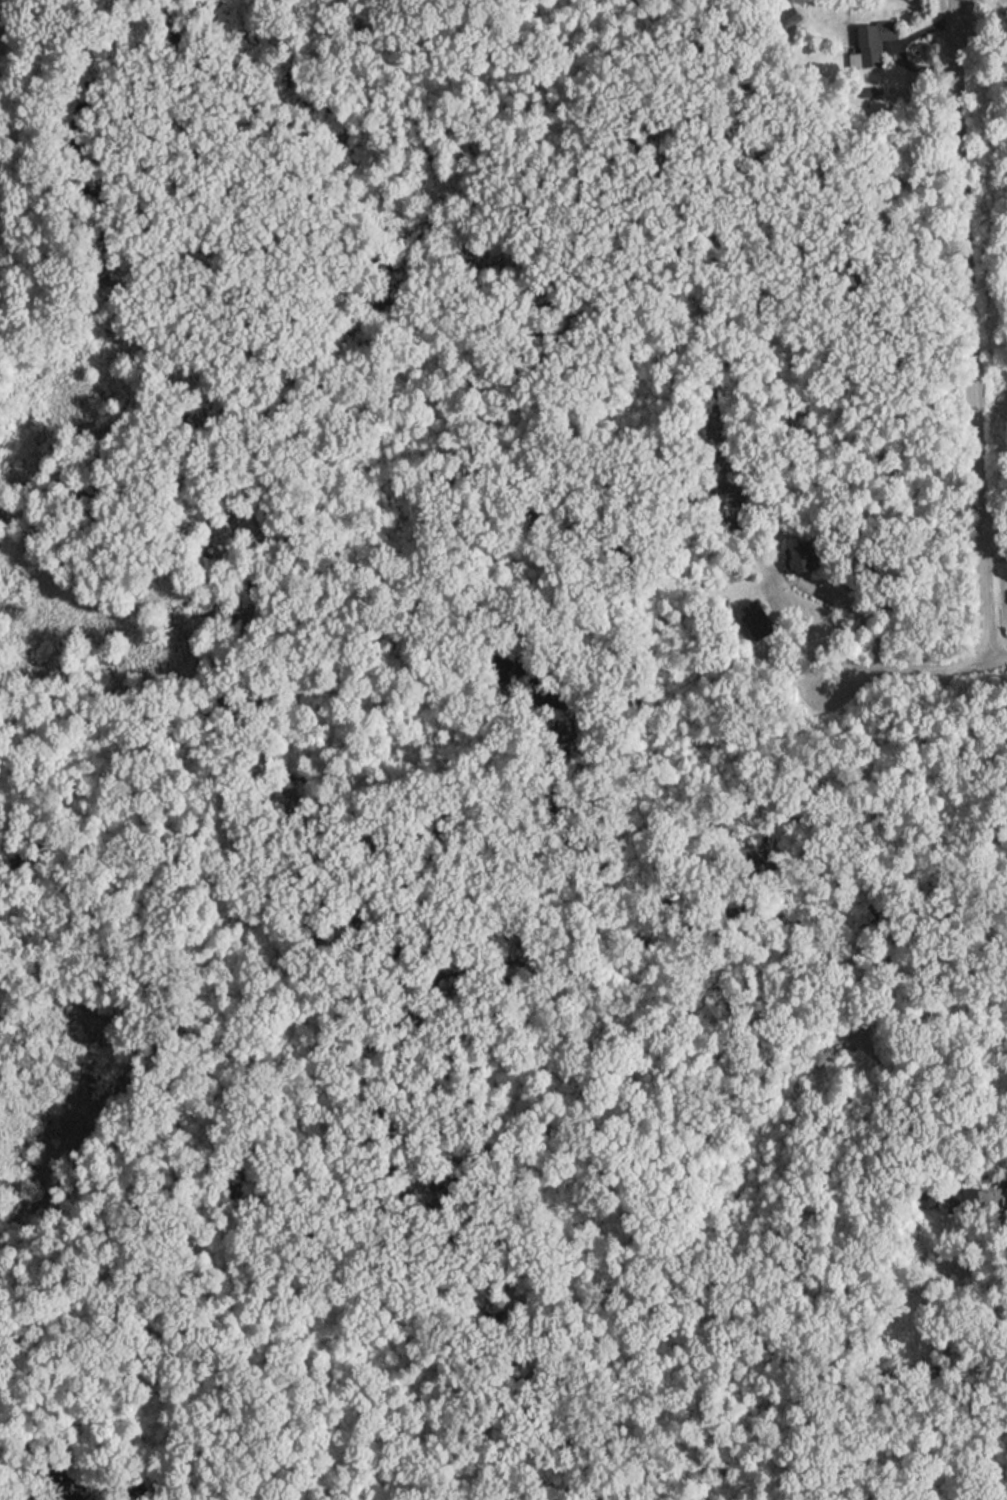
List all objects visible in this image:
road: (970, 332)
road: (862, 614)
road: (996, 664)
road: (905, 669)
road: (893, 941)

